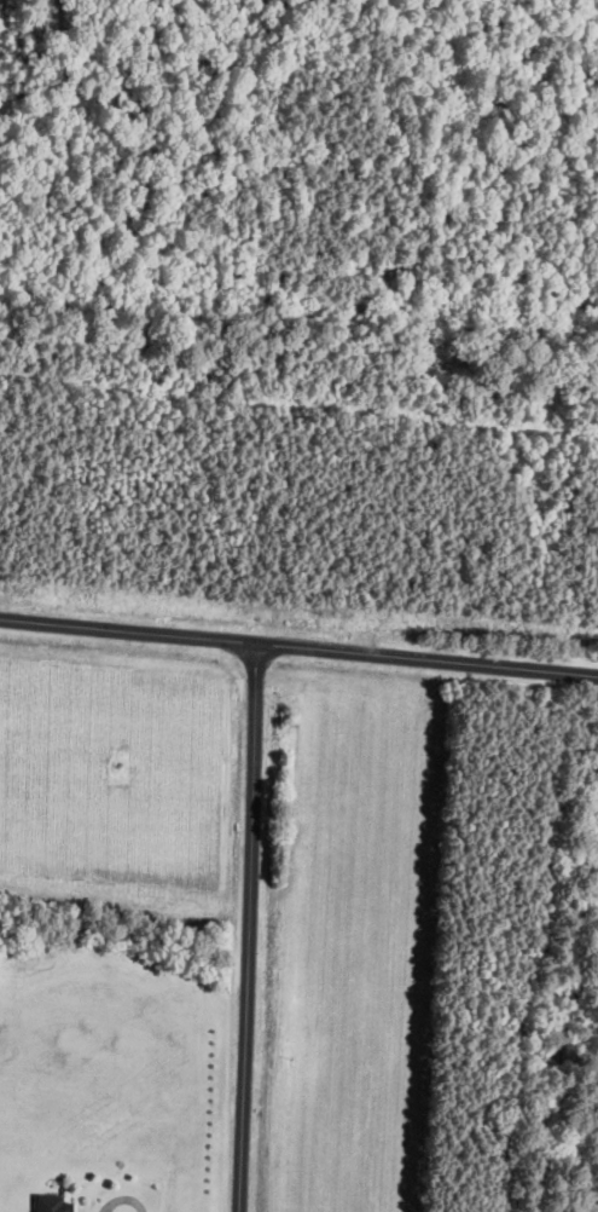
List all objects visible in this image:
road: (298, 645)
road: (249, 927)
road: (123, 1197)
building: (53, 1202)

